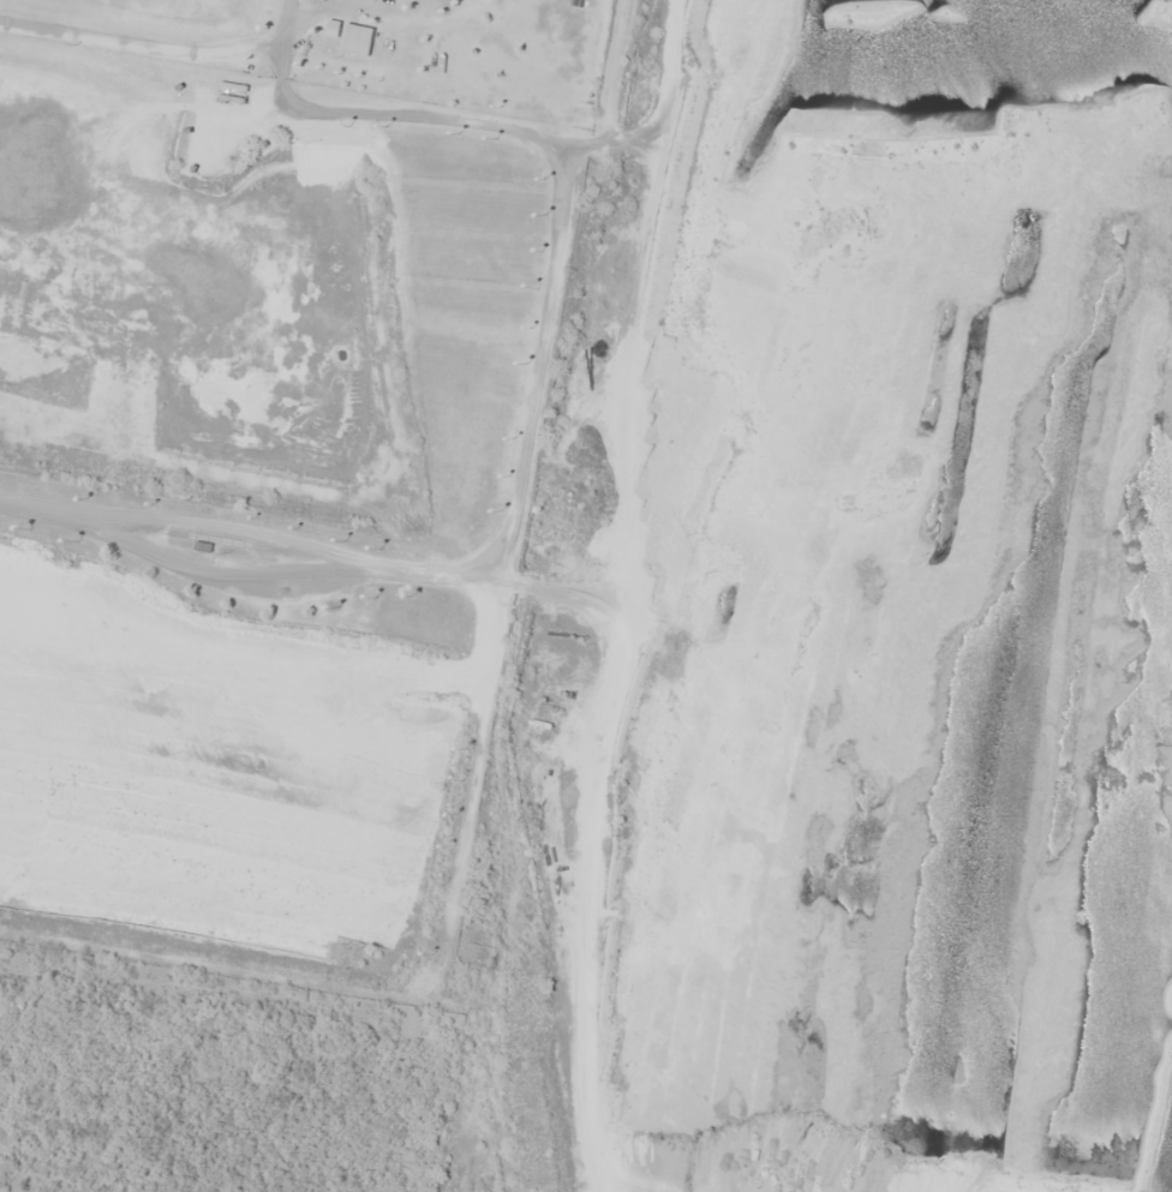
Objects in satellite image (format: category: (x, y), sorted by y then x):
building: (333, 29)
road: (330, 571)
road: (470, 793)

